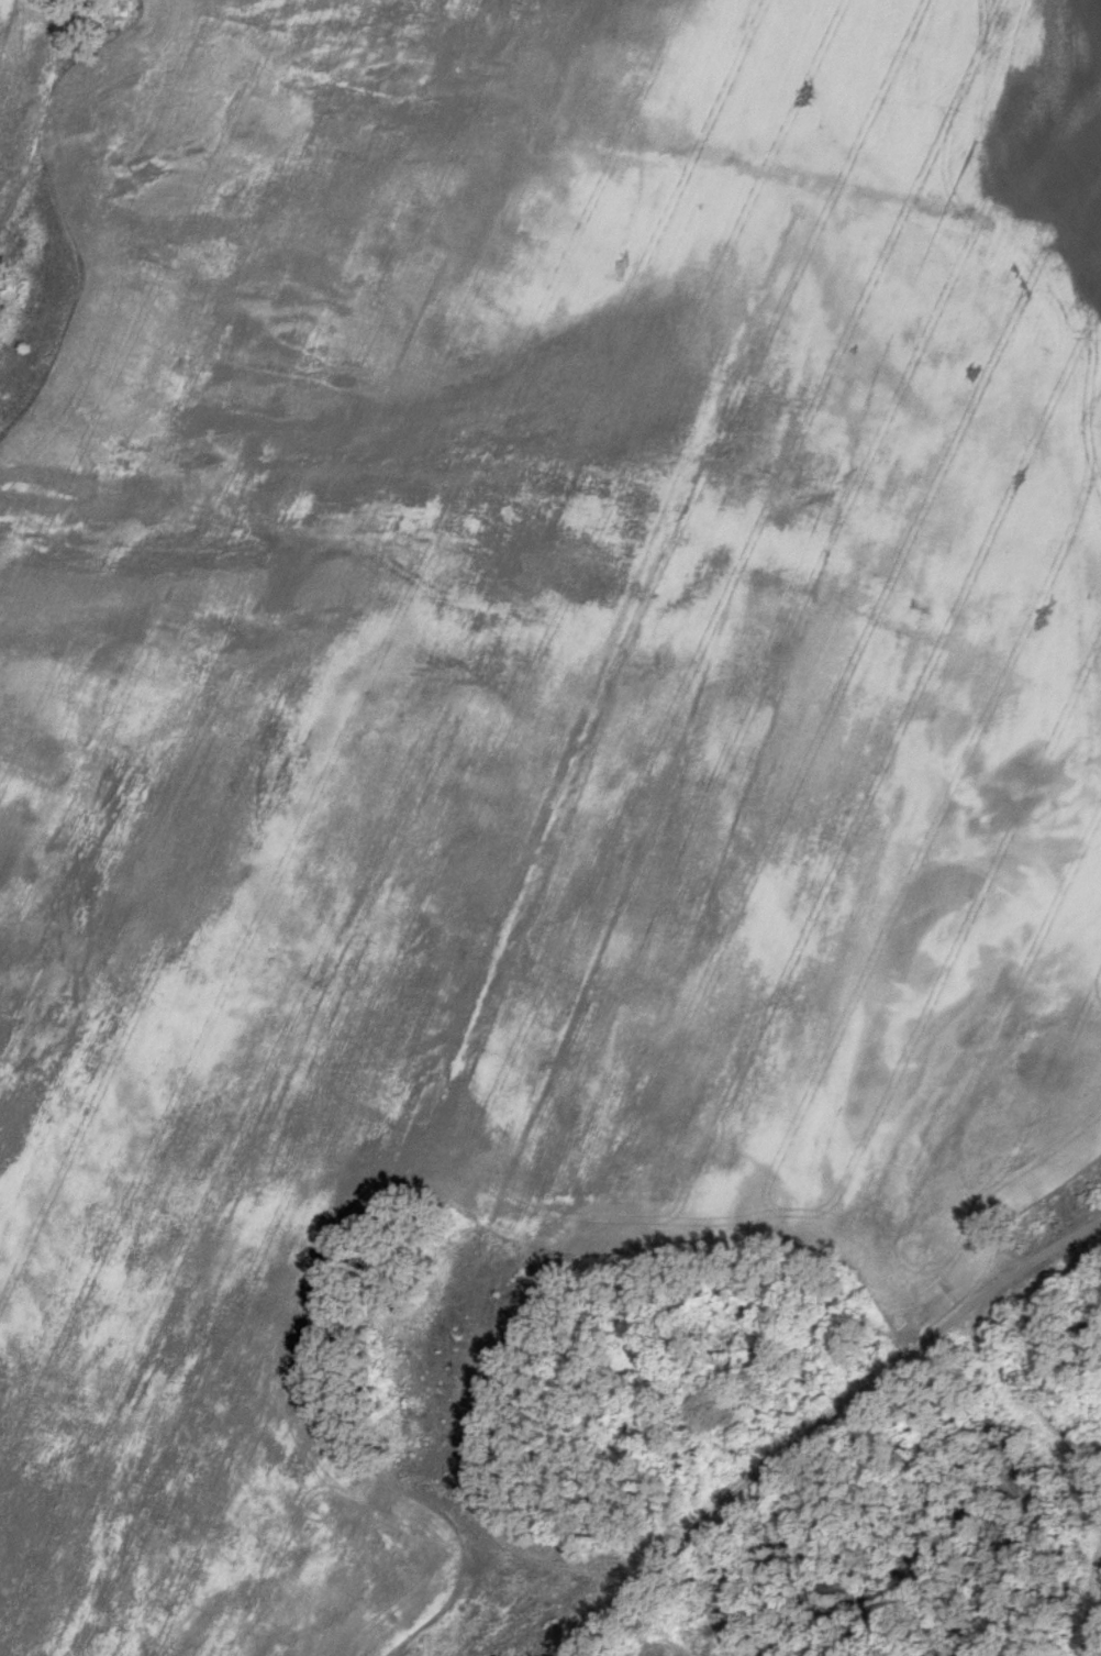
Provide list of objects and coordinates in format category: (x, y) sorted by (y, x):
crop: (20, 75)
crop: (524, 730)
road: (857, 1394)
road: (1035, 1404)
road: (1094, 1591)
road: (656, 1622)
road: (596, 1623)

